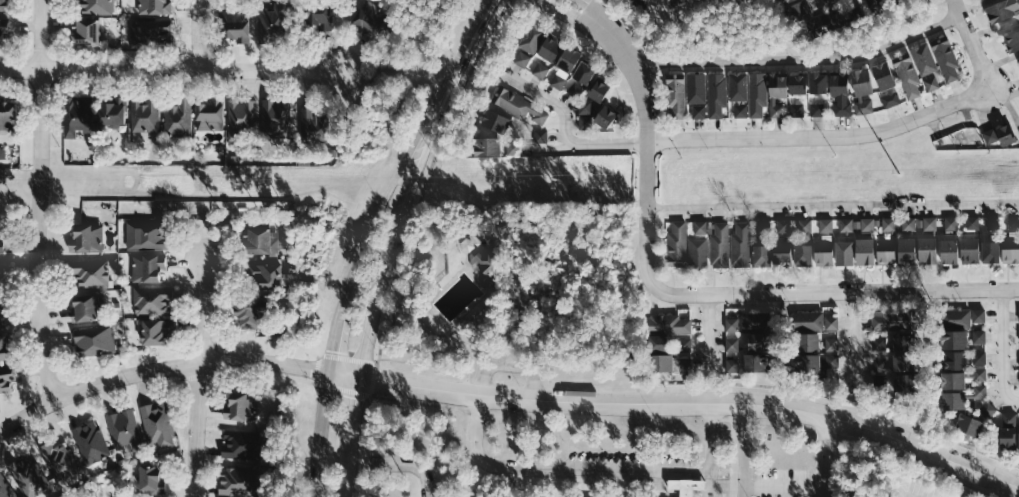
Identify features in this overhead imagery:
road: (586, 0)
building: (895, 1)
building: (674, 2)
building: (825, 2)
building: (638, 3)
building: (4, 5)
building: (878, 5)
building: (95, 6)
building: (154, 6)
road: (592, 10)
building: (800, 10)
building: (1001, 10)
building: (318, 14)
road: (568, 16)
building: (371, 19)
building: (828, 20)
building: (270, 23)
building: (235, 25)
building: (88, 31)
building: (2, 32)
building: (150, 33)
road: (196, 35)
road: (968, 42)
building: (1012, 42)
building: (529, 43)
building: (550, 48)
road: (799, 57)
building: (947, 59)
building: (926, 66)
building: (564, 67)
road: (169, 70)
building: (539, 70)
building: (585, 72)
building: (908, 76)
building: (818, 82)
building: (839, 83)
building: (887, 83)
building: (798, 84)
road: (448, 85)
building: (739, 86)
building: (695, 87)
building: (575, 89)
building: (863, 89)
building: (599, 90)
building: (777, 93)
building: (676, 95)
building: (716, 95)
building: (757, 95)
building: (518, 105)
building: (584, 107)
building: (817, 108)
building: (842, 108)
building: (739, 110)
building: (797, 110)
building: (111, 111)
building: (698, 111)
building: (209, 113)
building: (143, 114)
building: (8, 115)
building: (76, 115)
building: (606, 116)
building: (275, 117)
building: (176, 118)
building: (239, 118)
building: (496, 120)
building: (312, 124)
road: (565, 128)
building: (1000, 134)
building: (541, 136)
road: (821, 136)
road: (646, 145)
building: (489, 146)
building: (513, 149)
road: (402, 197)
road: (37, 199)
road: (384, 203)
road: (832, 203)
road: (971, 208)
road: (991, 208)
road: (1013, 208)
road: (907, 209)
road: (929, 209)
road: (951, 209)
road: (846, 210)
road: (867, 210)
road: (887, 210)
road: (804, 211)
road: (826, 211)
road: (763, 212)
road: (783, 212)
road: (679, 213)
road: (700, 213)
road: (742, 213)
road: (721, 214)
building: (991, 221)
building: (1012, 221)
building: (929, 222)
building: (950, 222)
building: (972, 222)
building: (866, 223)
building: (888, 223)
building: (908, 223)
building: (804, 224)
building: (825, 224)
building: (845, 224)
building: (763, 225)
building: (783, 225)
building: (700, 226)
building: (146, 236)
building: (87, 238)
building: (258, 240)
building: (675, 242)
building: (740, 243)
building: (718, 244)
building: (1, 246)
building: (1010, 249)
building: (927, 250)
building: (969, 250)
building: (865, 251)
building: (885, 251)
building: (906, 251)
building: (949, 251)
building: (697, 252)
building: (823, 252)
building: (990, 252)
building: (781, 253)
building: (844, 253)
building: (803, 255)
building: (762, 256)
building: (480, 262)
building: (492, 263)
road: (350, 267)
building: (147, 268)
road: (383, 269)
building: (1, 271)
building: (88, 272)
building: (266, 275)
road: (989, 275)
road: (1008, 275)
road: (926, 276)
road: (950, 276)
road: (965, 276)
road: (844, 277)
road: (864, 277)
road: (882, 277)
road: (908, 277)
road: (673, 278)
road: (778, 278)
road: (803, 278)
road: (820, 278)
road: (713, 279)
road: (734, 279)
road: (760, 279)
road: (699, 280)
road: (835, 290)
building: (151, 301)
building: (84, 307)
road: (923, 310)
road: (204, 311)
building: (2, 313)
building: (734, 313)
building: (251, 314)
building: (978, 314)
road: (993, 315)
road: (1010, 315)
road: (935, 316)
building: (894, 318)
building: (954, 318)
building: (755, 320)
road: (774, 320)
building: (807, 320)
building: (667, 322)
road: (786, 322)
building: (831, 322)
road: (846, 322)
road: (863, 322)
road: (639, 323)
road: (716, 323)
building: (731, 323)
road: (699, 324)
road: (779, 327)
road: (708, 328)
building: (157, 331)
road: (332, 335)
building: (978, 335)
road: (993, 335)
road: (1010, 335)
road: (634, 336)
road: (922, 336)
building: (954, 339)
building: (94, 340)
building: (903, 340)
road: (936, 340)
road: (641, 341)
road: (775, 341)
building: (805, 341)
road: (855, 341)
building: (658, 342)
building: (758, 342)
road: (864, 342)
building: (879, 342)
road: (699, 343)
road: (716, 343)
building: (732, 343)
road: (788, 343)
road: (846, 343)
building: (684, 344)
building: (831, 344)
building: (4, 347)
road: (366, 347)
road: (1002, 348)
road: (776, 356)
building: (978, 356)
road: (993, 356)
road: (923, 359)
building: (953, 359)
road: (641, 360)
building: (831, 360)
road: (846, 360)
building: (904, 361)
building: (757, 362)
road: (1010, 362)
road: (508, 363)
building: (659, 363)
building: (684, 363)
road: (699, 363)
building: (807, 363)
building: (880, 363)
building: (732, 364)
road: (864, 364)
road: (935, 364)
road: (716, 365)
road: (789, 365)
road: (930, 368)
building: (979, 373)
road: (994, 373)
building: (6, 378)
road: (1010, 378)
road: (936, 379)
building: (953, 379)
road: (864, 381)
building: (879, 381)
building: (904, 382)
road: (923, 382)
road: (994, 388)
building: (979, 390)
road: (936, 396)
road: (508, 397)
road: (999, 398)
building: (954, 400)
road: (1011, 406)
building: (241, 407)
building: (987, 408)
road: (941, 413)
road: (352, 415)
building: (1009, 419)
building: (156, 424)
building: (969, 424)
road: (194, 429)
building: (124, 431)
road: (315, 434)
building: (1007, 437)
building: (90, 442)
building: (240, 444)
road: (743, 449)
road: (823, 455)
building: (58, 459)
road: (400, 462)
road: (1009, 464)
road: (596, 470)
road: (348, 475)
building: (27, 476)
building: (151, 479)
building: (237, 481)
building: (687, 485)
road: (782, 488)
building: (5, 489)

